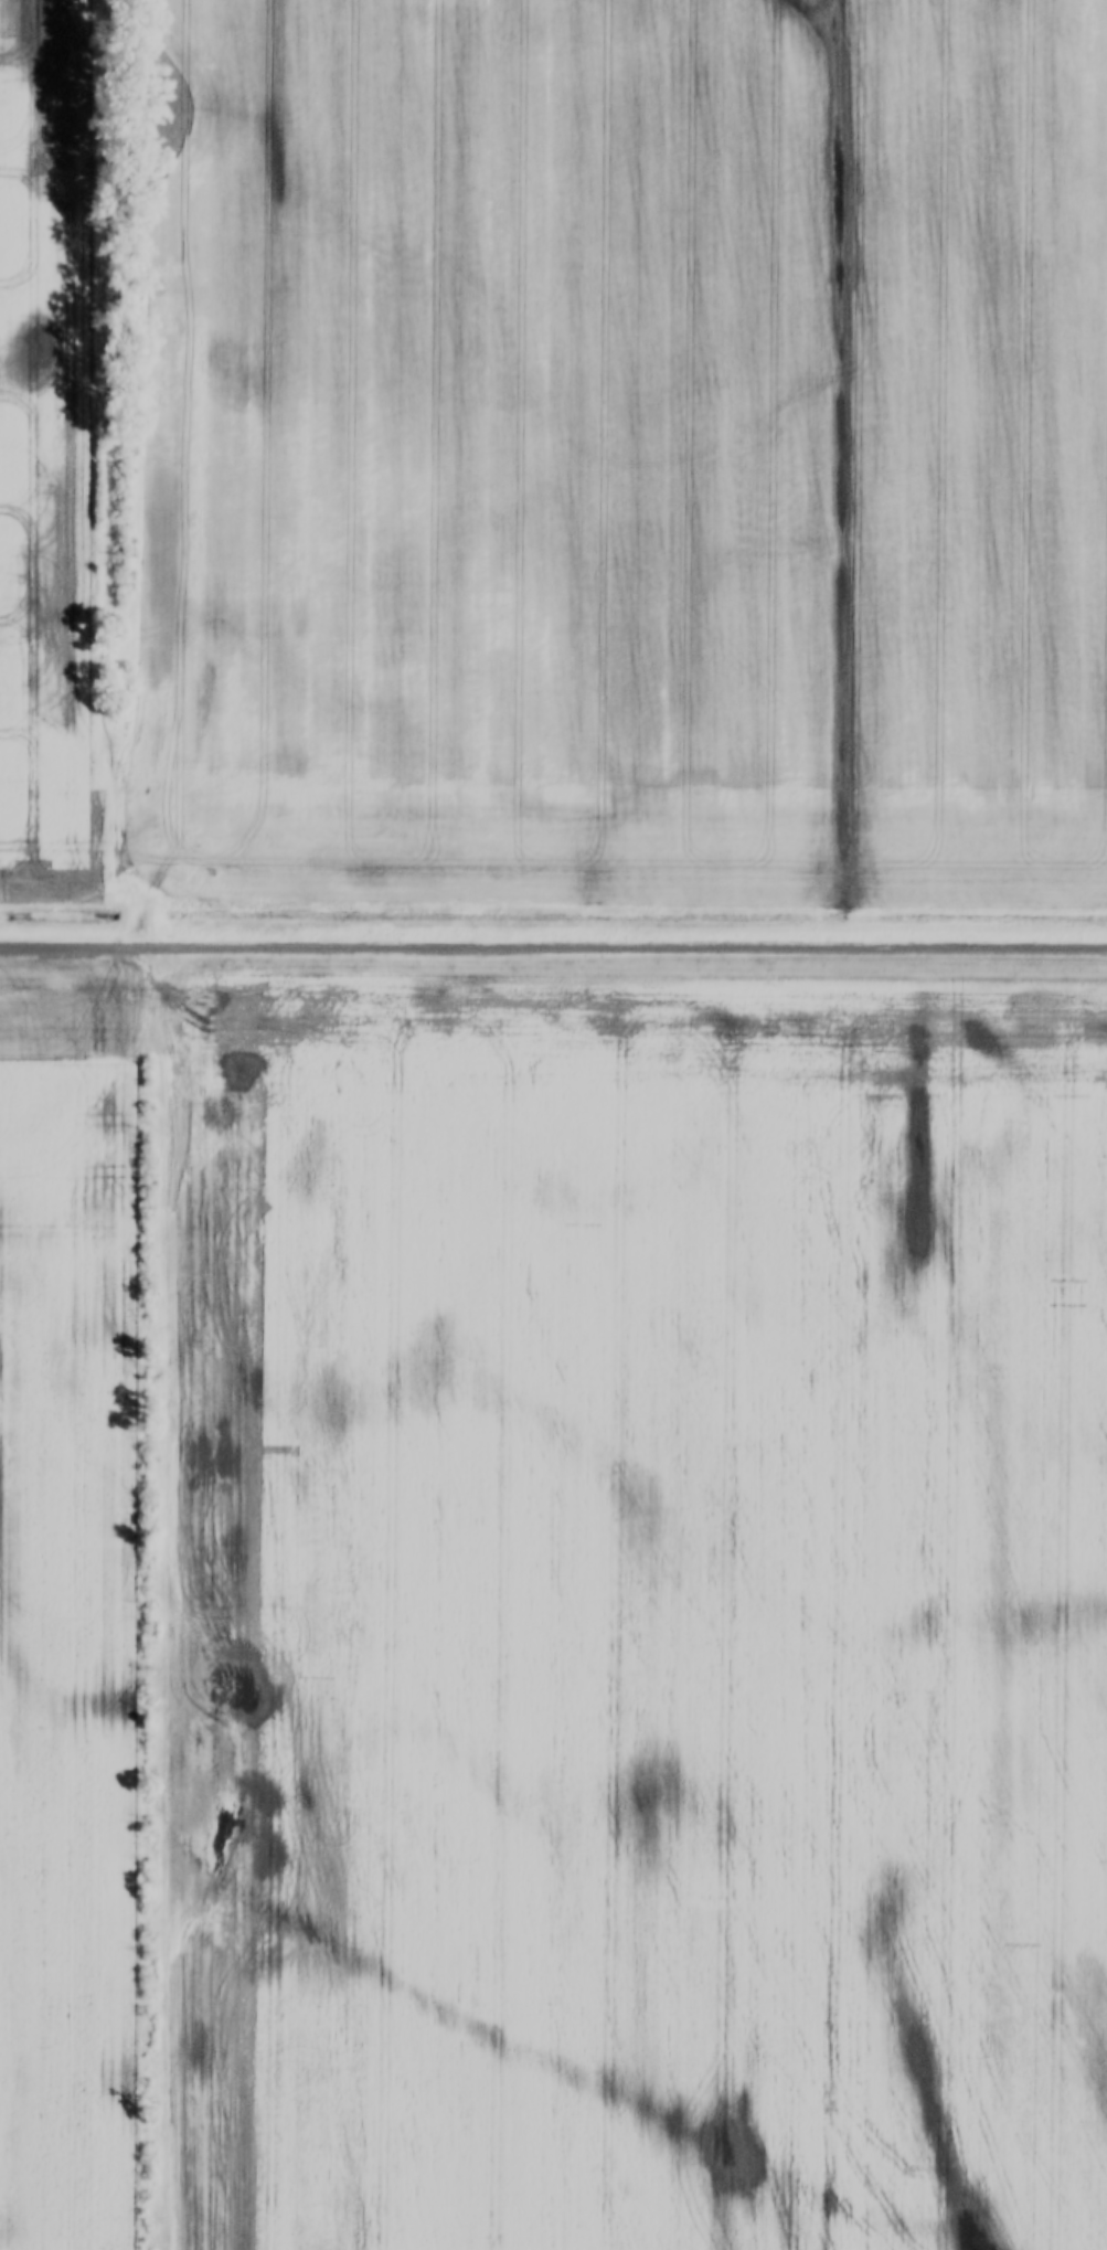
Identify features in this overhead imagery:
road: (553, 951)

